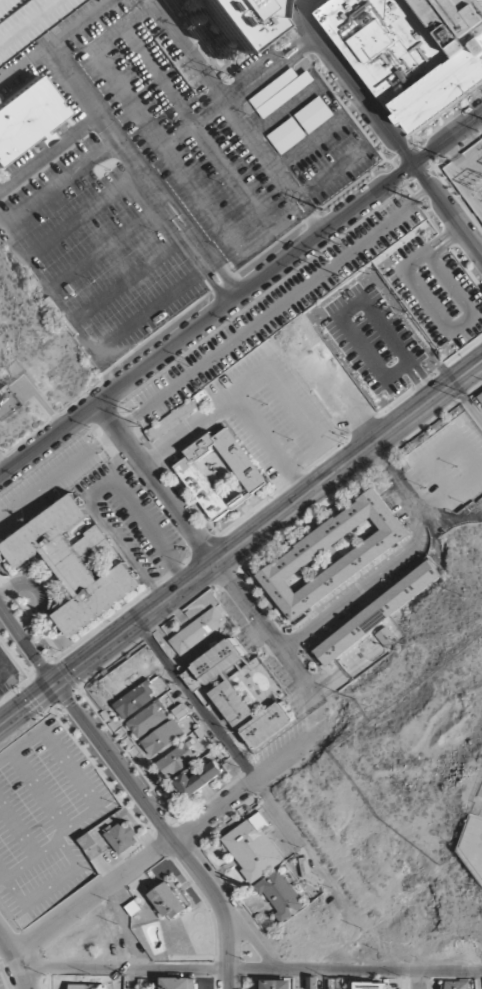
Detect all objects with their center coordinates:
road: (305, 0)
road: (306, 0)
road: (300, 3)
building: (24, 18)
parking garage: (24, 18)
building: (236, 20)
building: (416, 50)
building: (280, 92)
building: (314, 115)
building: (26, 118)
road: (387, 130)
building: (286, 136)
road: (451, 150)
power tower: (444, 159)
road: (468, 164)
power substation: (468, 177)
parking lot: (145, 181)
road: (466, 187)
power tower: (420, 204)
power tower: (323, 210)
power tower: (328, 261)
power tower: (338, 275)
parking lot: (435, 293)
road: (240, 296)
road: (330, 387)
road: (287, 398)
building: (479, 399)
road: (468, 400)
road: (427, 403)
power tower: (129, 412)
building: (180, 415)
power tower: (140, 423)
road: (60, 449)
road: (471, 453)
road: (169, 469)
building: (220, 473)
road: (58, 476)
road: (397, 480)
road: (296, 481)
road: (98, 490)
road: (178, 510)
road: (426, 518)
road: (455, 520)
road: (433, 537)
building: (303, 557)
road: (399, 557)
building: (75, 564)
road: (180, 565)
road: (185, 585)
road: (36, 595)
building: (378, 614)
road: (30, 616)
road: (320, 620)
building: (198, 631)
road: (129, 648)
road: (289, 660)
building: (220, 662)
parking lot: (3, 676)
building: (191, 681)
traffic signals: (56, 685)
building: (136, 699)
road: (314, 714)
building: (250, 716)
building: (147, 721)
road: (26, 729)
building: (163, 739)
road: (55, 747)
road: (127, 756)
building: (178, 759)
road: (101, 774)
building: (198, 781)
road: (137, 789)
road: (39, 791)
road: (210, 799)
parking lot: (46, 821)
road: (75, 822)
road: (18, 830)
building: (123, 837)
building: (86, 841)
road: (170, 844)
building: (253, 851)
road: (31, 859)
road: (0, 872)
road: (48, 889)
building: (279, 896)
building: (169, 901)
road: (10, 918)
road: (1, 939)
road: (256, 941)
road: (15, 961)
road: (249, 970)
road: (130, 979)
road: (322, 980)
road: (420, 980)
road: (479, 981)
building: (311, 983)
building: (178, 984)
building: (274, 984)
parking lot: (1, 985)
building: (367, 985)
building: (456, 985)
building: (87, 987)

